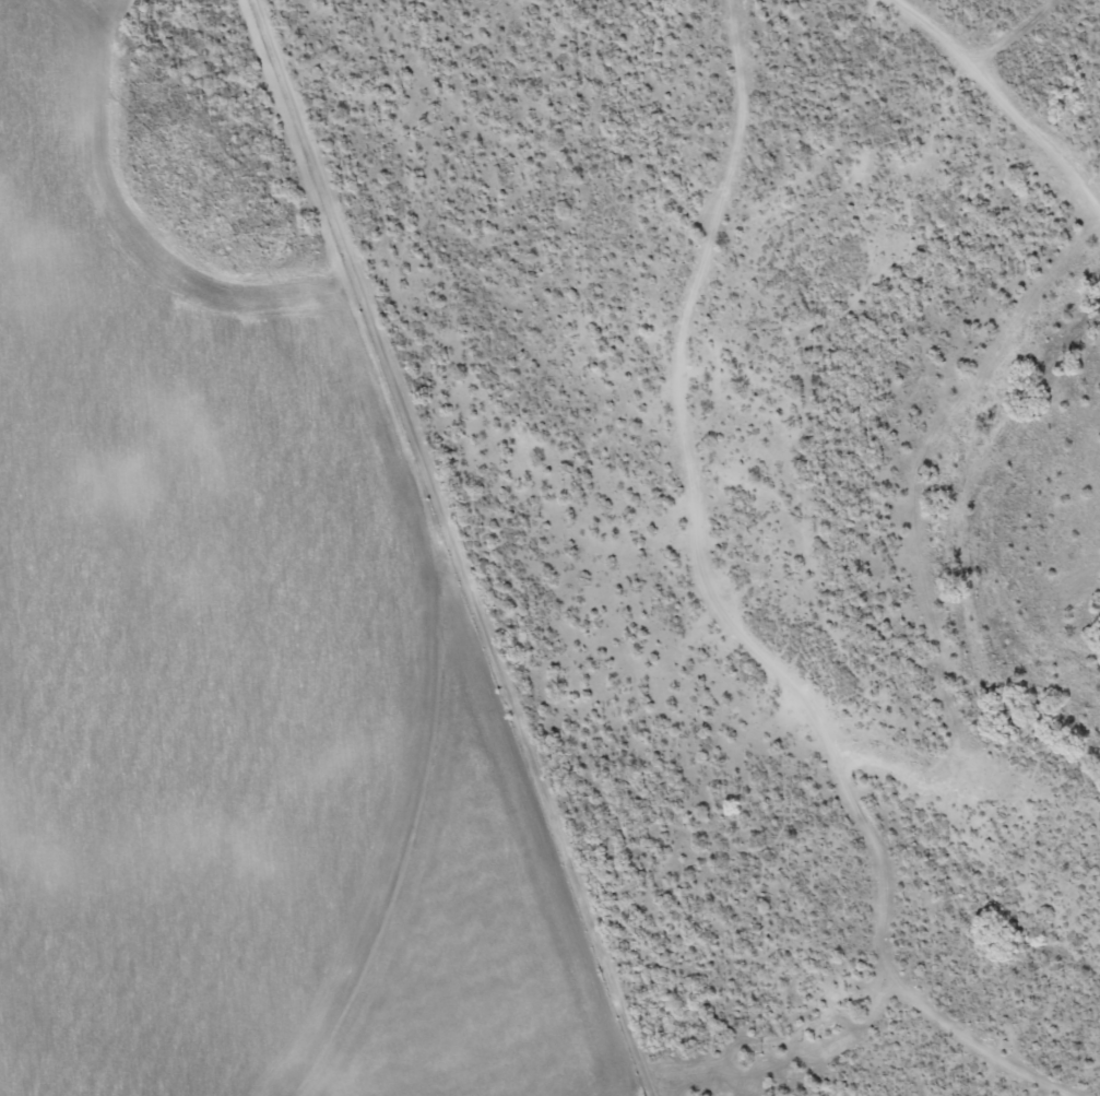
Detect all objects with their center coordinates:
road: (1005, 104)

